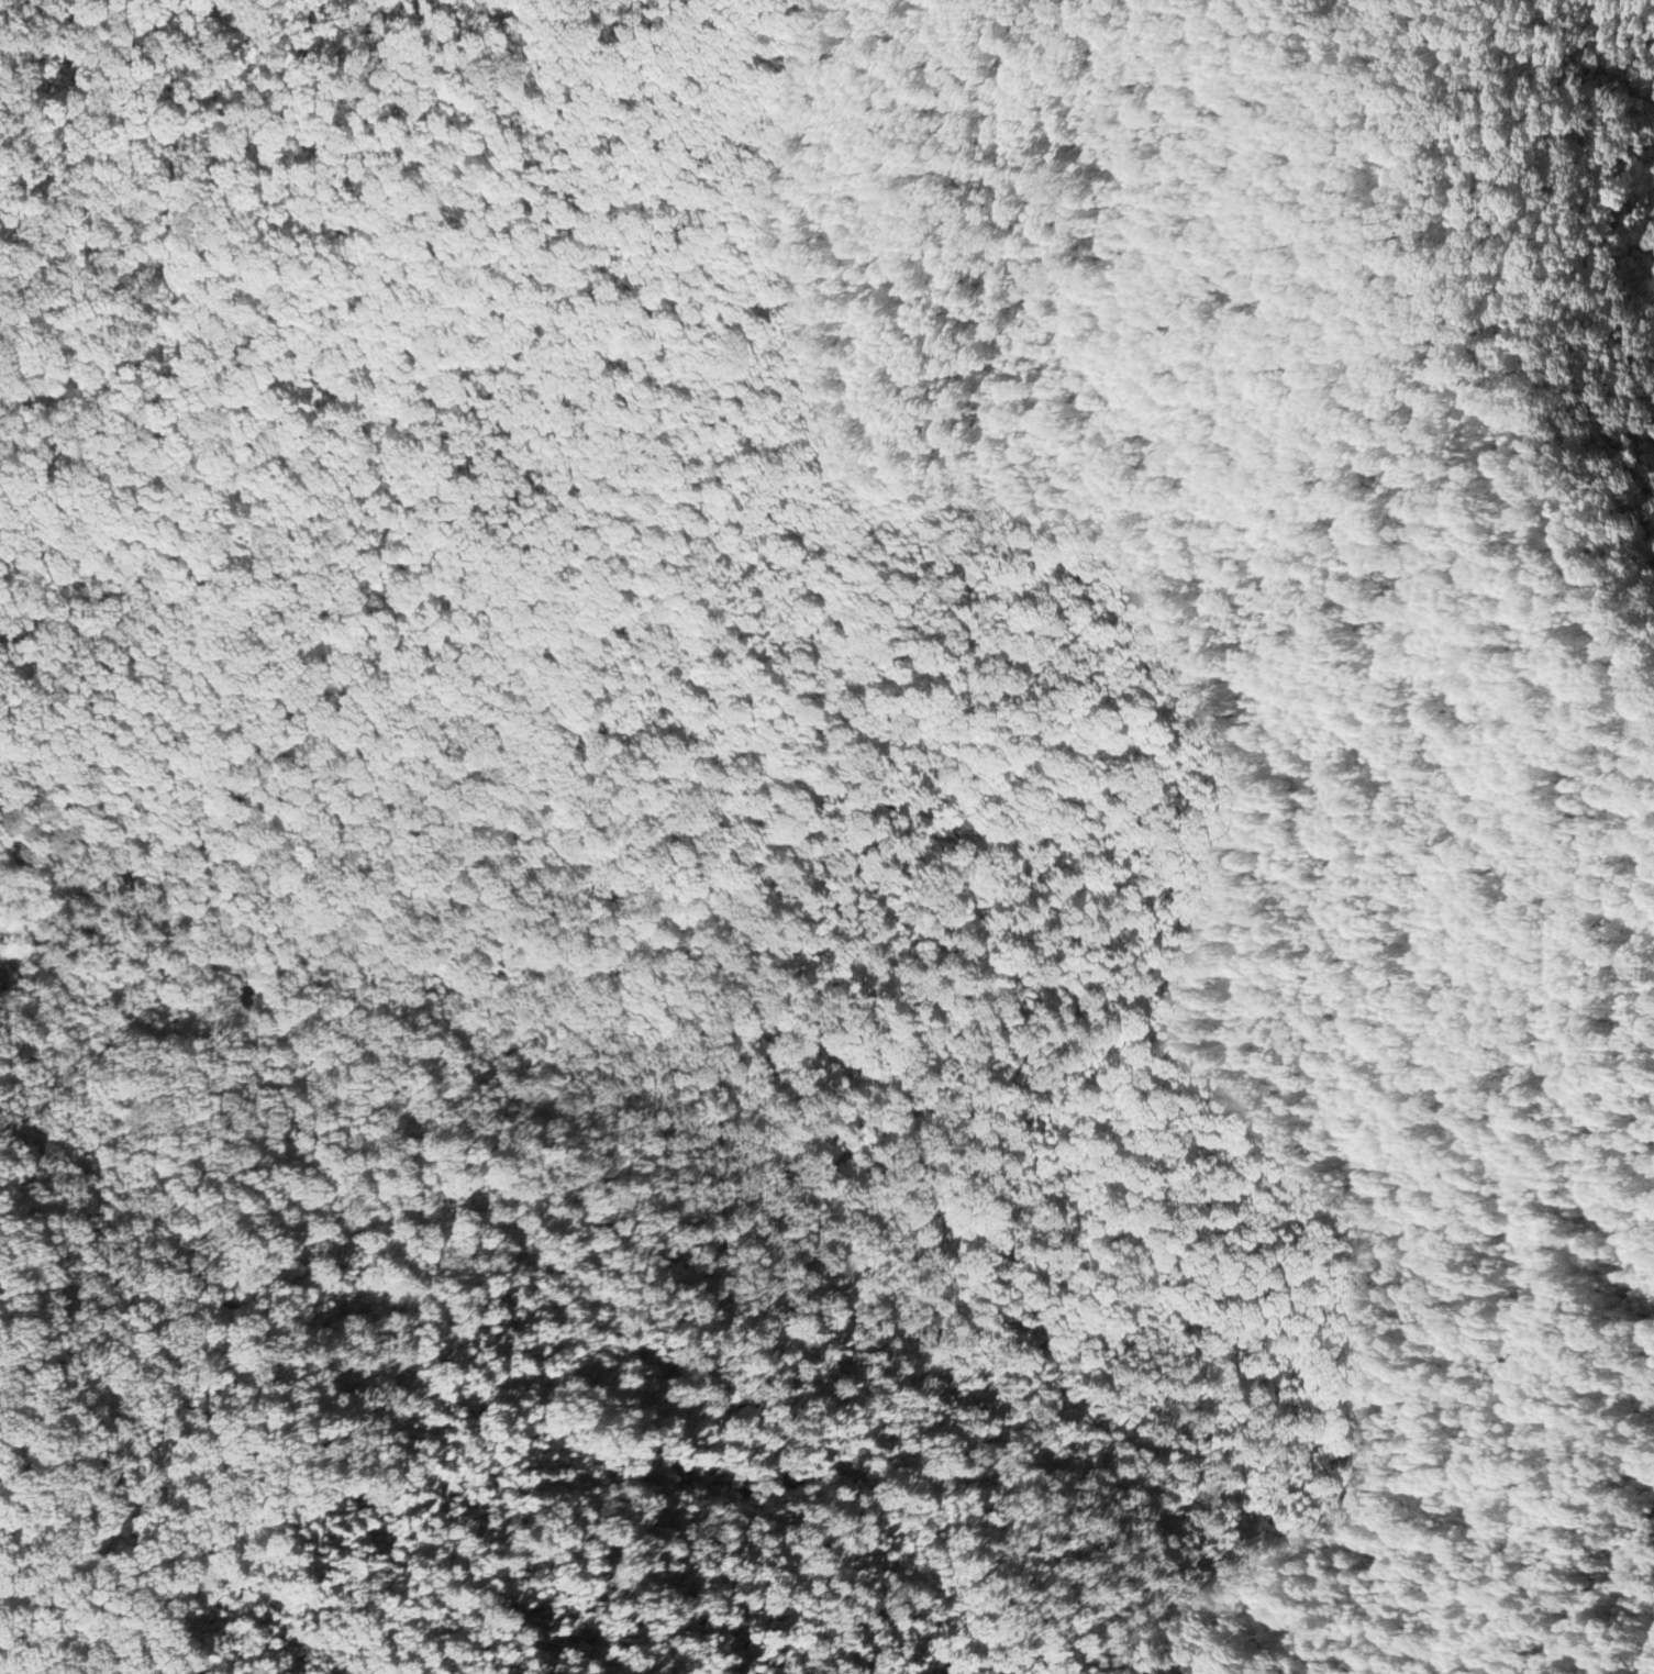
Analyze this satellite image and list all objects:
road: (1597, 1598)
road: (1653, 1669)

